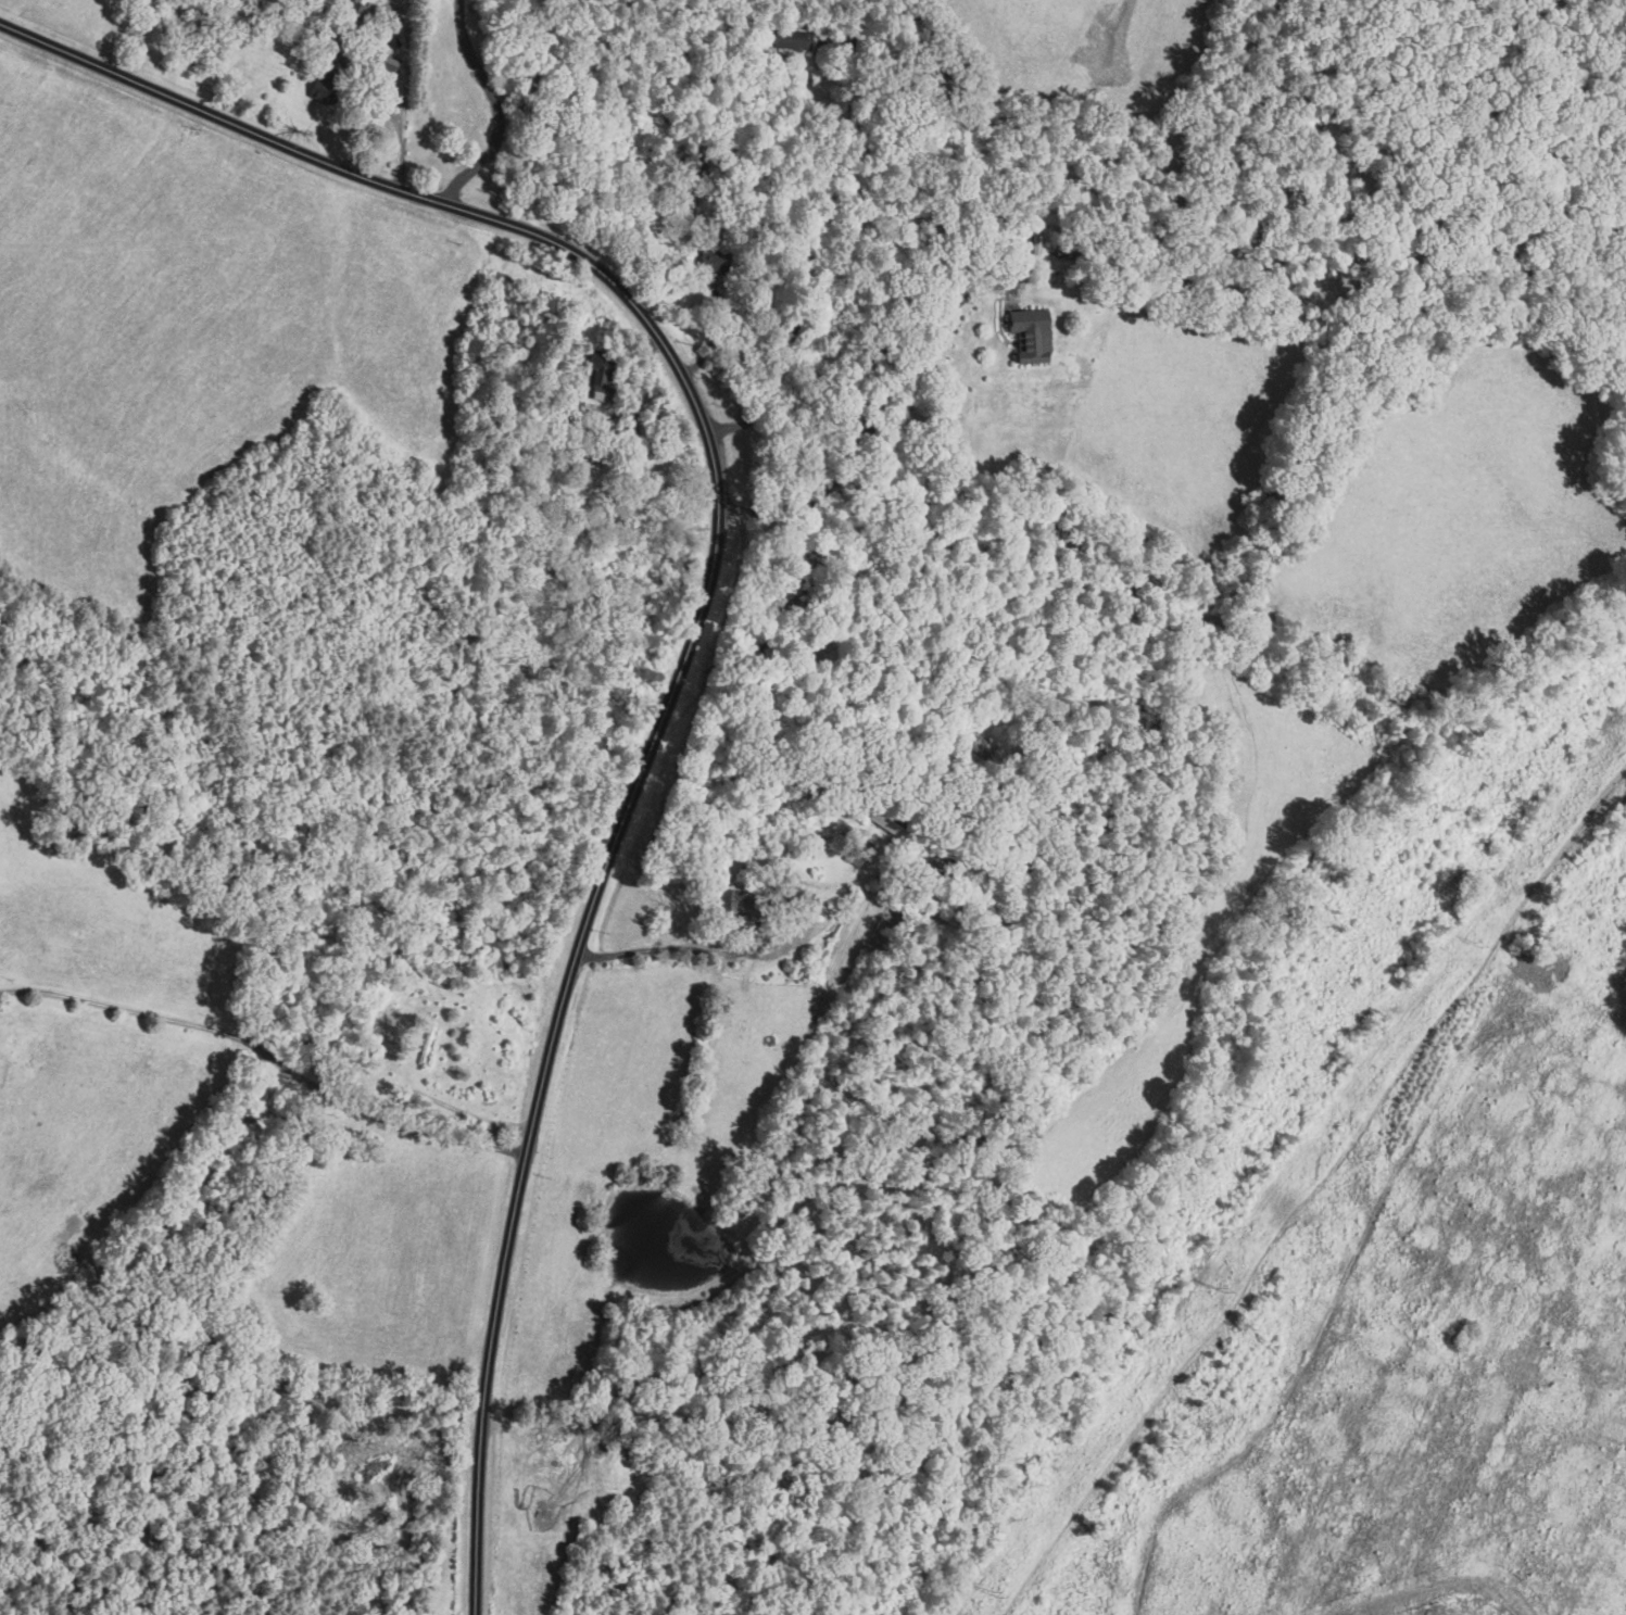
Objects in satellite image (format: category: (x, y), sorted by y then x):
road: (494, 106)
road: (814, 225)
building: (1029, 326)
road: (644, 373)
road: (869, 409)
road: (701, 609)
road: (686, 948)
building: (421, 1040)
road: (269, 1059)

